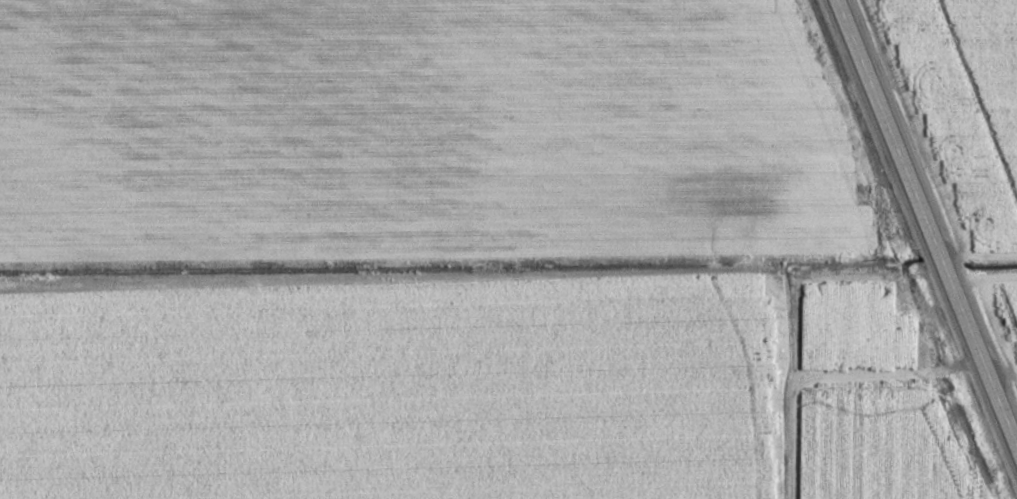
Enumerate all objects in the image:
road: (925, 227)
road: (999, 369)

